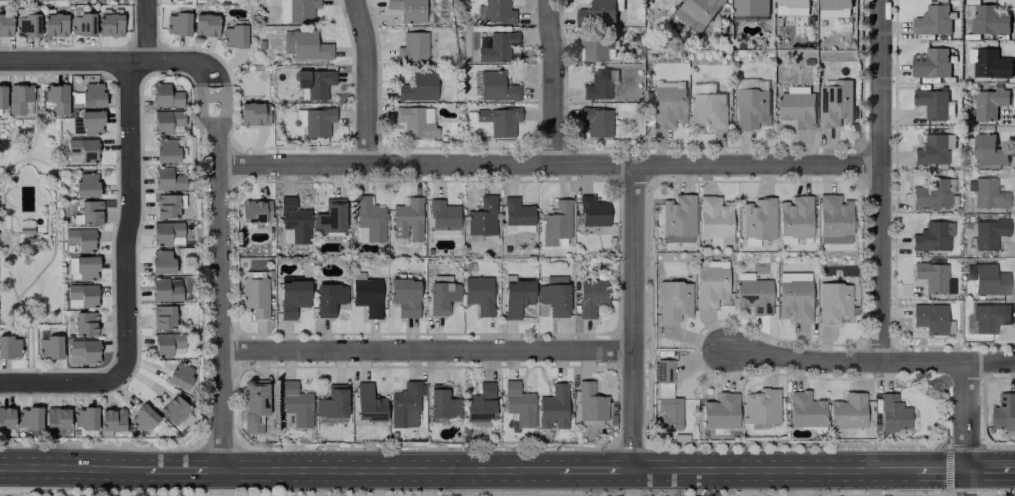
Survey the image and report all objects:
building: (834, 4)
building: (749, 7)
building: (792, 7)
building: (407, 9)
building: (295, 10)
building: (497, 12)
building: (697, 12)
building: (597, 13)
building: (833, 13)
building: (933, 20)
building: (109, 22)
building: (989, 22)
building: (81, 23)
building: (176, 23)
building: (4, 24)
building: (54, 24)
building: (204, 25)
building: (233, 36)
building: (304, 44)
building: (596, 44)
building: (412, 46)
building: (497, 46)
road: (104, 62)
building: (930, 62)
building: (990, 63)
road: (19, 72)
road: (107, 75)
road: (210, 78)
road: (368, 81)
road: (554, 81)
building: (314, 82)
building: (598, 83)
building: (495, 86)
building: (418, 87)
building: (701, 88)
building: (91, 94)
building: (2, 96)
building: (164, 96)
building: (56, 97)
building: (19, 99)
building: (834, 103)
building: (933, 103)
building: (988, 103)
building: (667, 106)
building: (797, 107)
building: (750, 108)
road: (213, 110)
building: (707, 110)
building: (253, 113)
building: (166, 120)
building: (314, 120)
building: (494, 120)
building: (90, 121)
building: (415, 121)
building: (596, 121)
building: (933, 148)
building: (81, 150)
building: (167, 150)
building: (987, 151)
road: (549, 163)
road: (5, 165)
road: (3, 168)
road: (82, 168)
building: (167, 178)
road: (883, 180)
building: (85, 184)
road: (129, 184)
building: (932, 193)
building: (988, 193)
building: (168, 204)
building: (254, 211)
building: (592, 211)
building: (89, 212)
building: (517, 214)
building: (442, 215)
building: (329, 216)
building: (481, 216)
building: (794, 216)
building: (368, 217)
building: (712, 217)
building: (677, 218)
building: (757, 218)
building: (832, 219)
building: (294, 220)
building: (406, 221)
building: (555, 224)
building: (166, 233)
building: (988, 233)
building: (932, 236)
road: (53, 238)
building: (79, 238)
building: (160, 261)
building: (714, 264)
building: (84, 267)
building: (933, 277)
building: (989, 280)
building: (709, 286)
building: (164, 289)
building: (441, 293)
building: (478, 293)
building: (366, 294)
building: (554, 294)
building: (81, 295)
building: (753, 295)
building: (254, 296)
building: (403, 296)
building: (591, 296)
building: (292, 297)
building: (516, 297)
building: (328, 298)
building: (673, 300)
building: (794, 300)
road: (220, 301)
building: (833, 302)
building: (162, 316)
road: (635, 316)
building: (989, 317)
building: (931, 318)
building: (84, 323)
building: (167, 344)
building: (9, 347)
building: (49, 347)
road: (428, 349)
building: (82, 351)
road: (868, 361)
road: (14, 369)
building: (662, 371)
building: (179, 375)
road: (29, 381)
road: (59, 382)
building: (332, 402)
building: (442, 402)
building: (589, 402)
building: (254, 403)
building: (368, 403)
building: (479, 403)
building: (296, 404)
building: (404, 404)
building: (518, 404)
building: (760, 406)
building: (553, 407)
building: (173, 409)
building: (804, 409)
building: (847, 410)
building: (720, 411)
building: (1004, 412)
building: (668, 413)
building: (892, 414)
building: (6, 417)
building: (28, 417)
building: (84, 417)
building: (55, 418)
building: (142, 418)
building: (111, 419)
road: (963, 428)
road: (67, 466)
road: (178, 469)
road: (386, 469)
road: (592, 469)
road: (771, 469)
road: (936, 469)
road: (988, 469)
road: (1013, 469)
road: (219, 482)
road: (315, 482)

